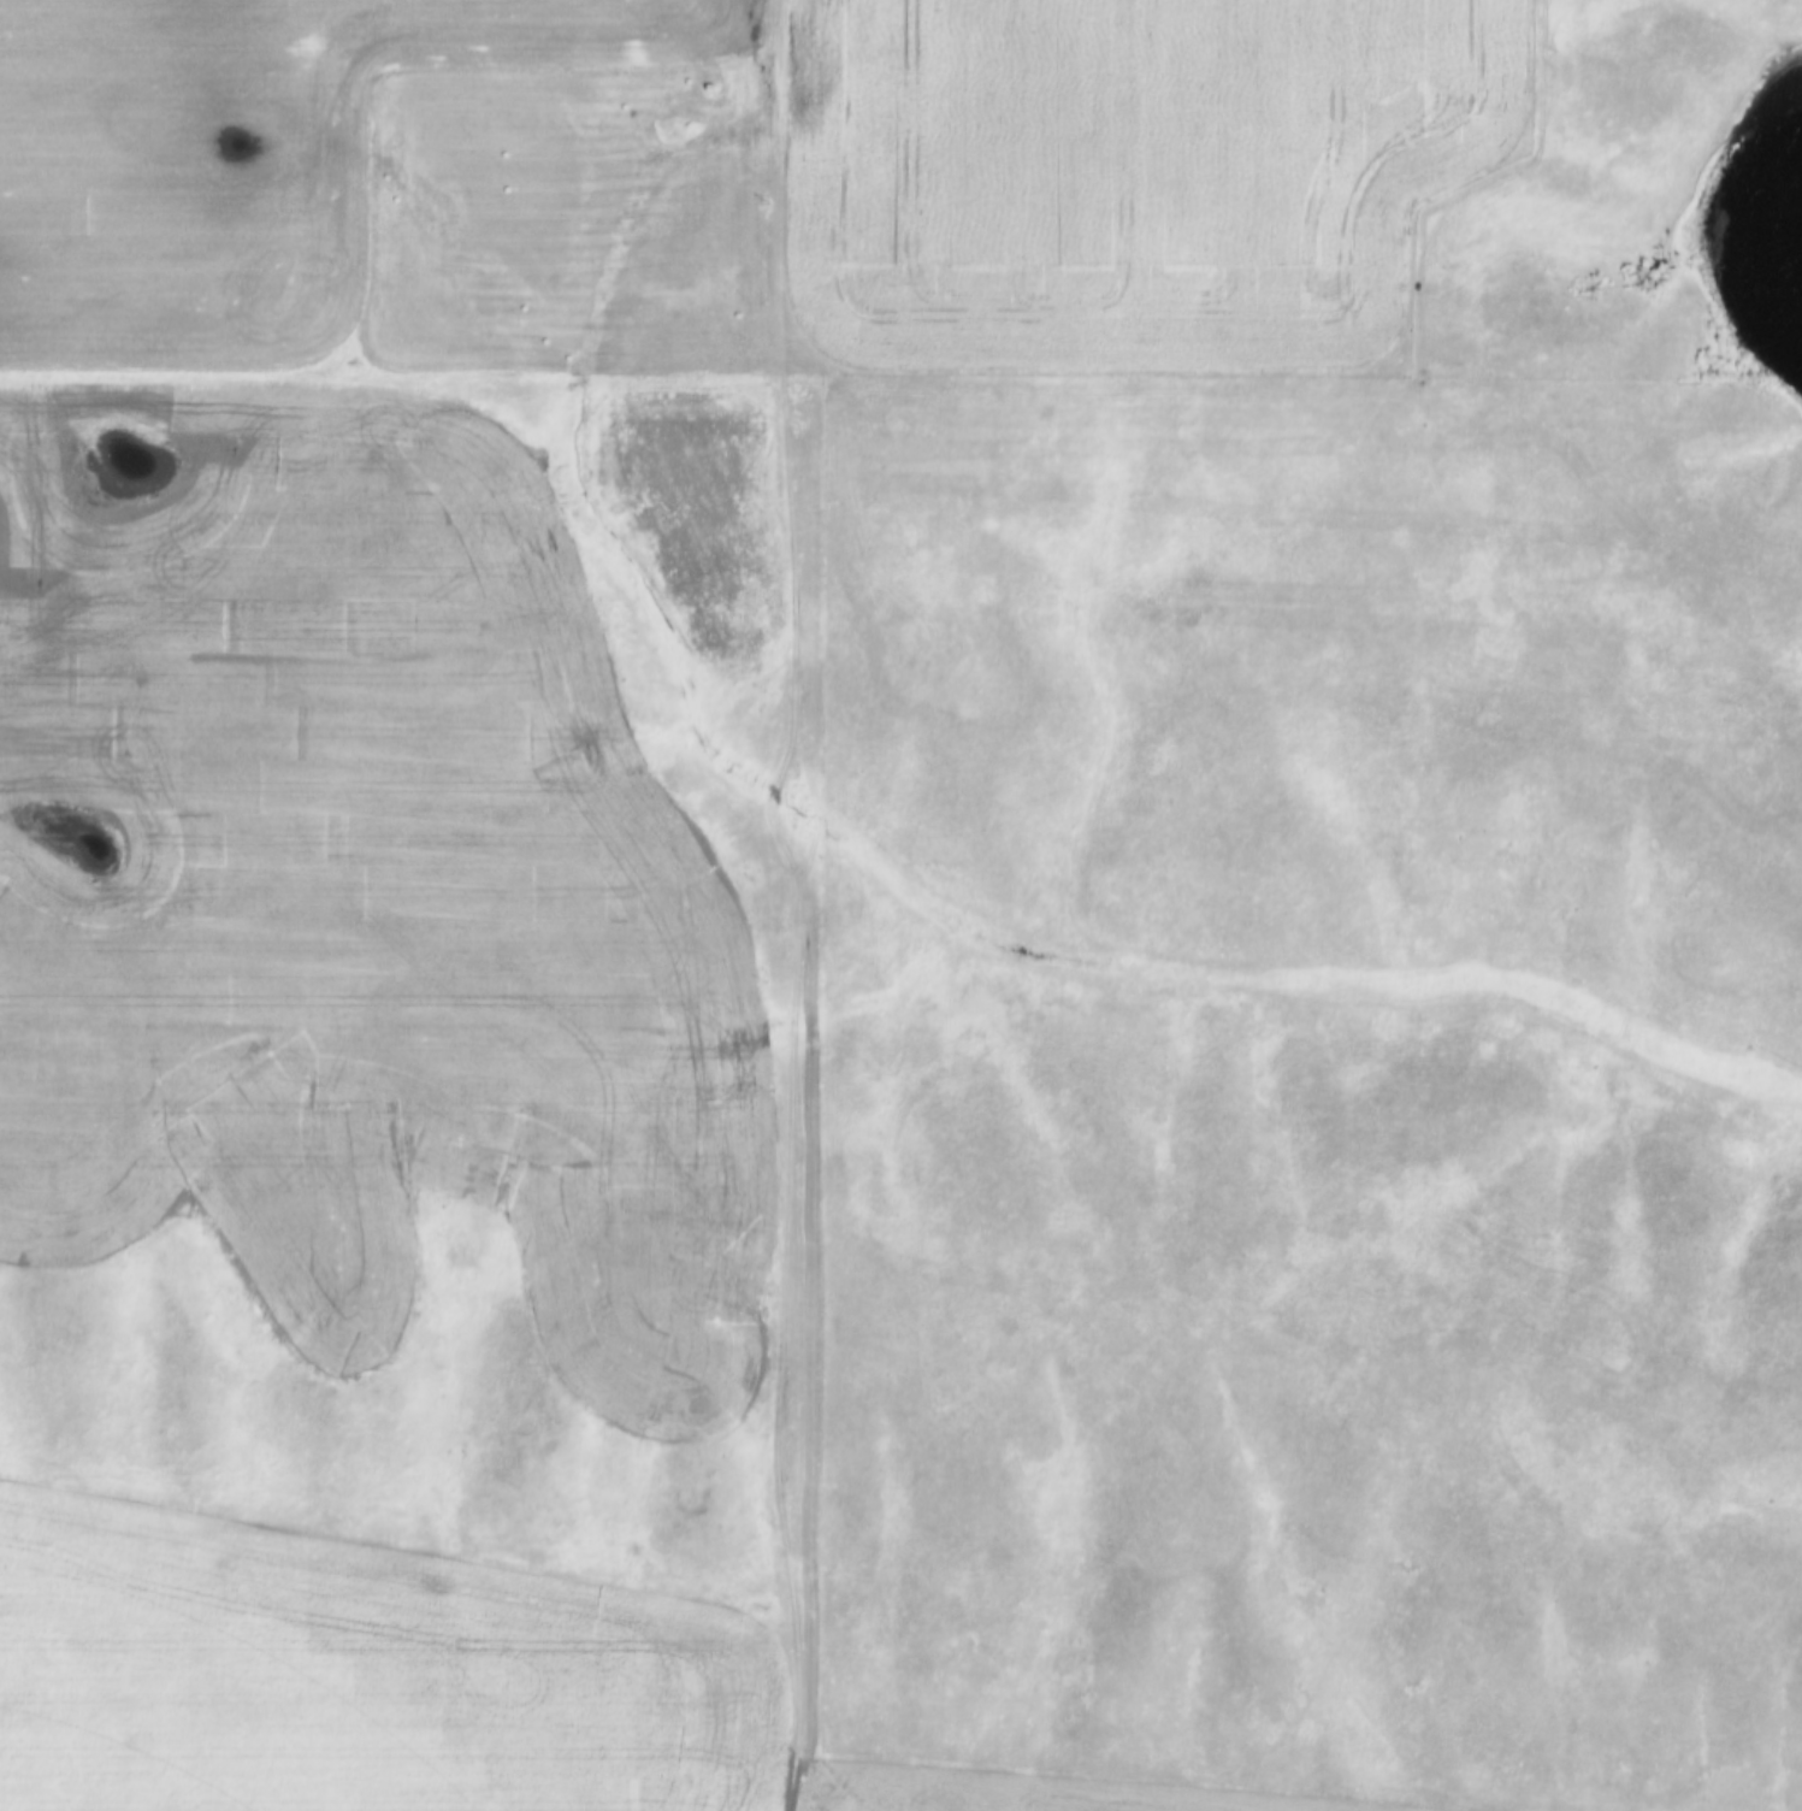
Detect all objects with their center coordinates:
road: (793, 904)

